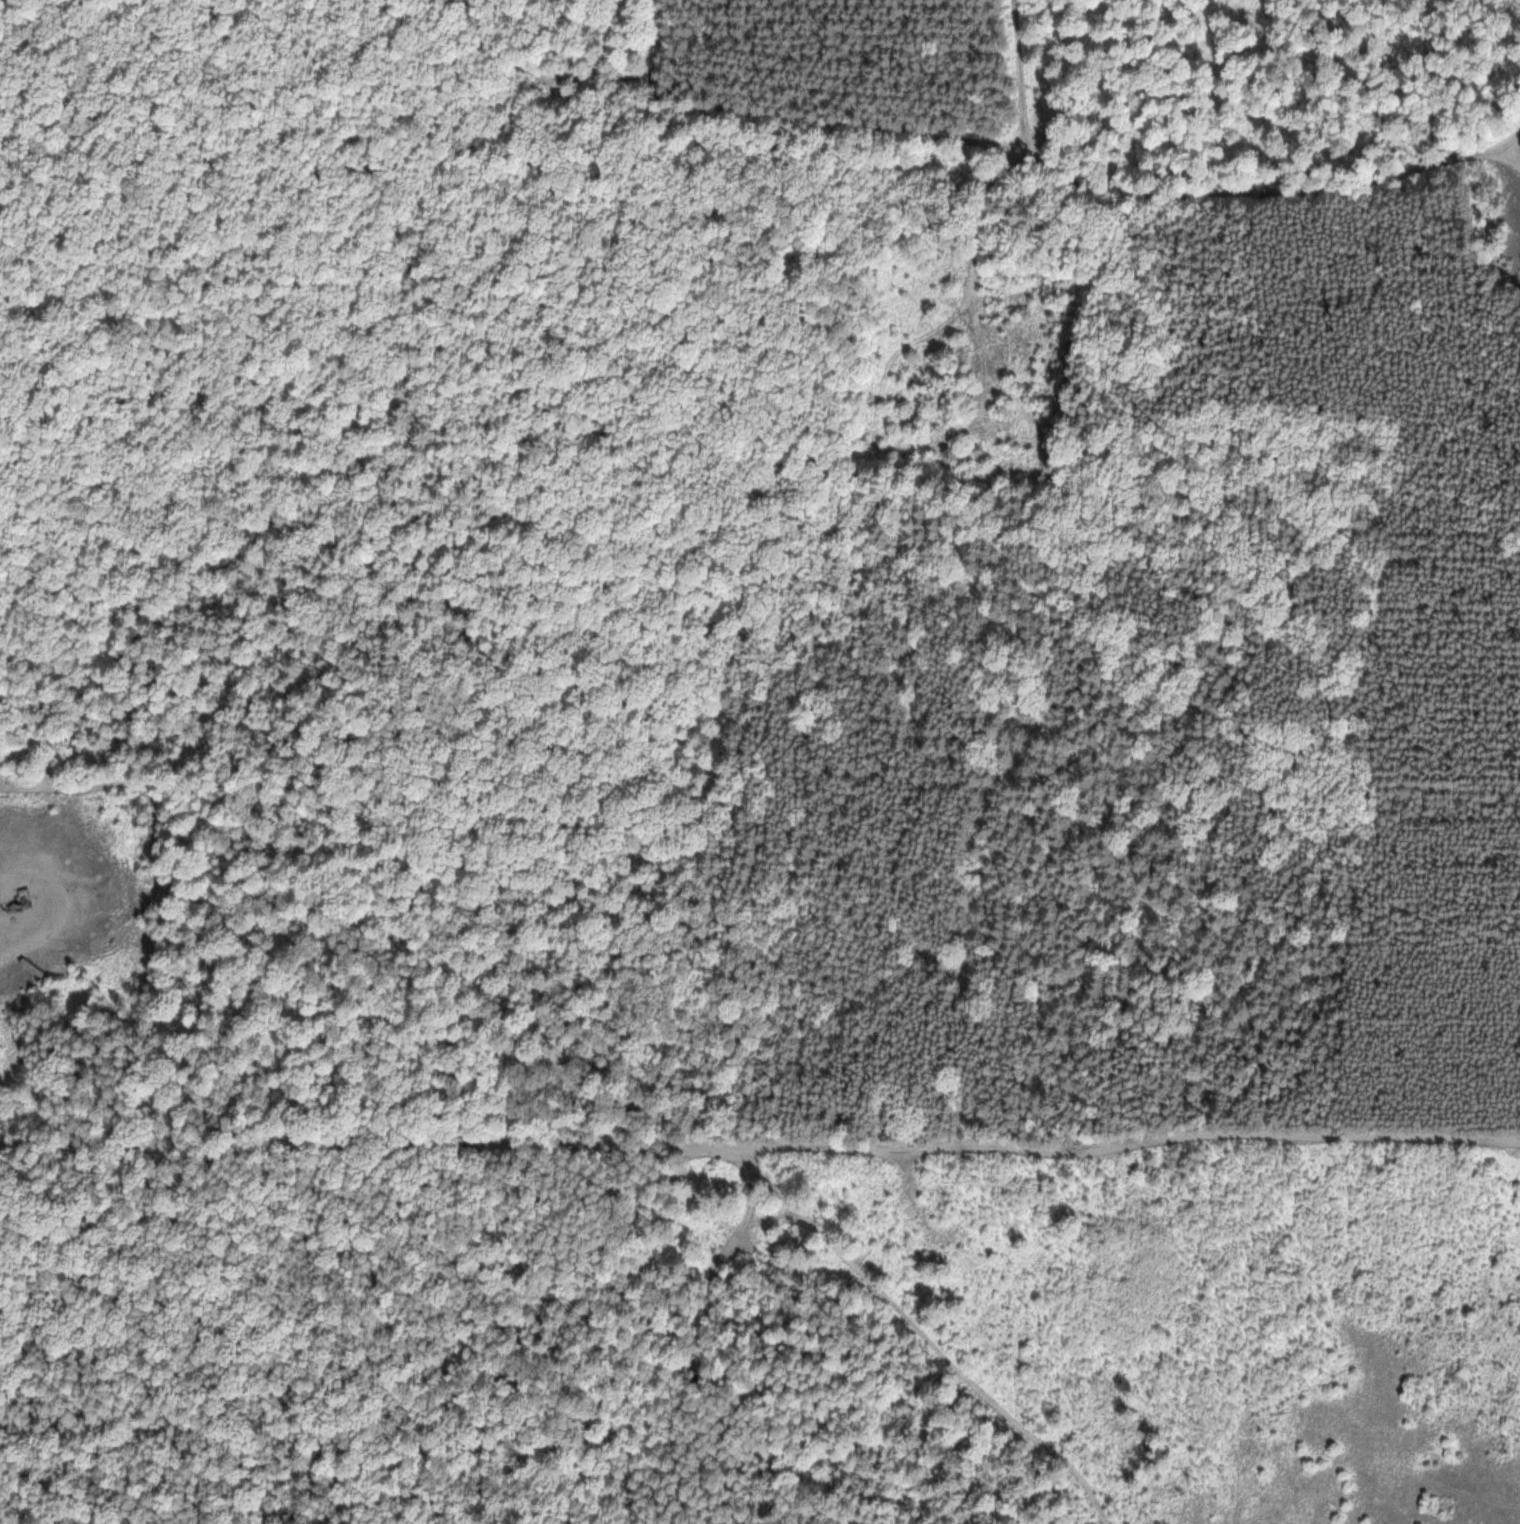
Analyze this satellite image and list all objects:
road: (125, 784)
road: (47, 882)
petroleum well: (17, 898)
building: (27, 923)
road: (27, 944)
road: (359, 1139)
road: (807, 1148)
road: (923, 1334)

